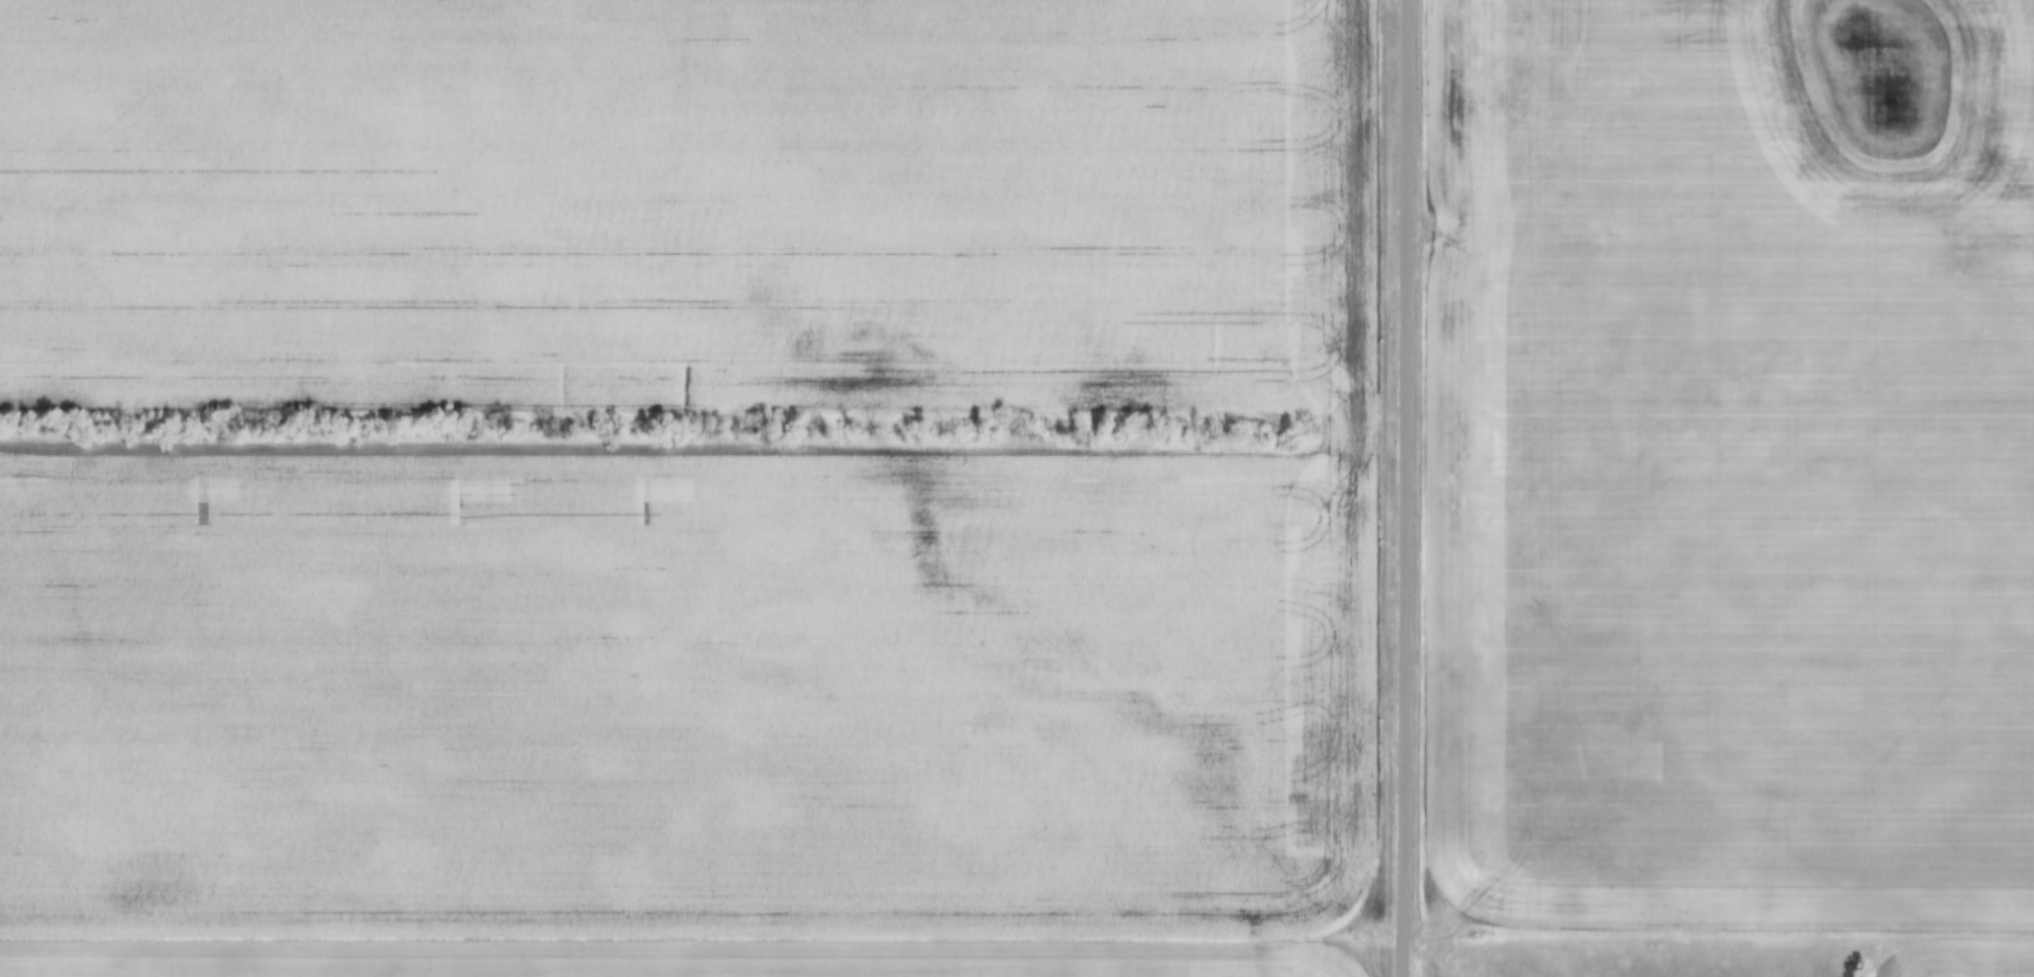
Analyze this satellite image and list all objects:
road: (1406, 488)

